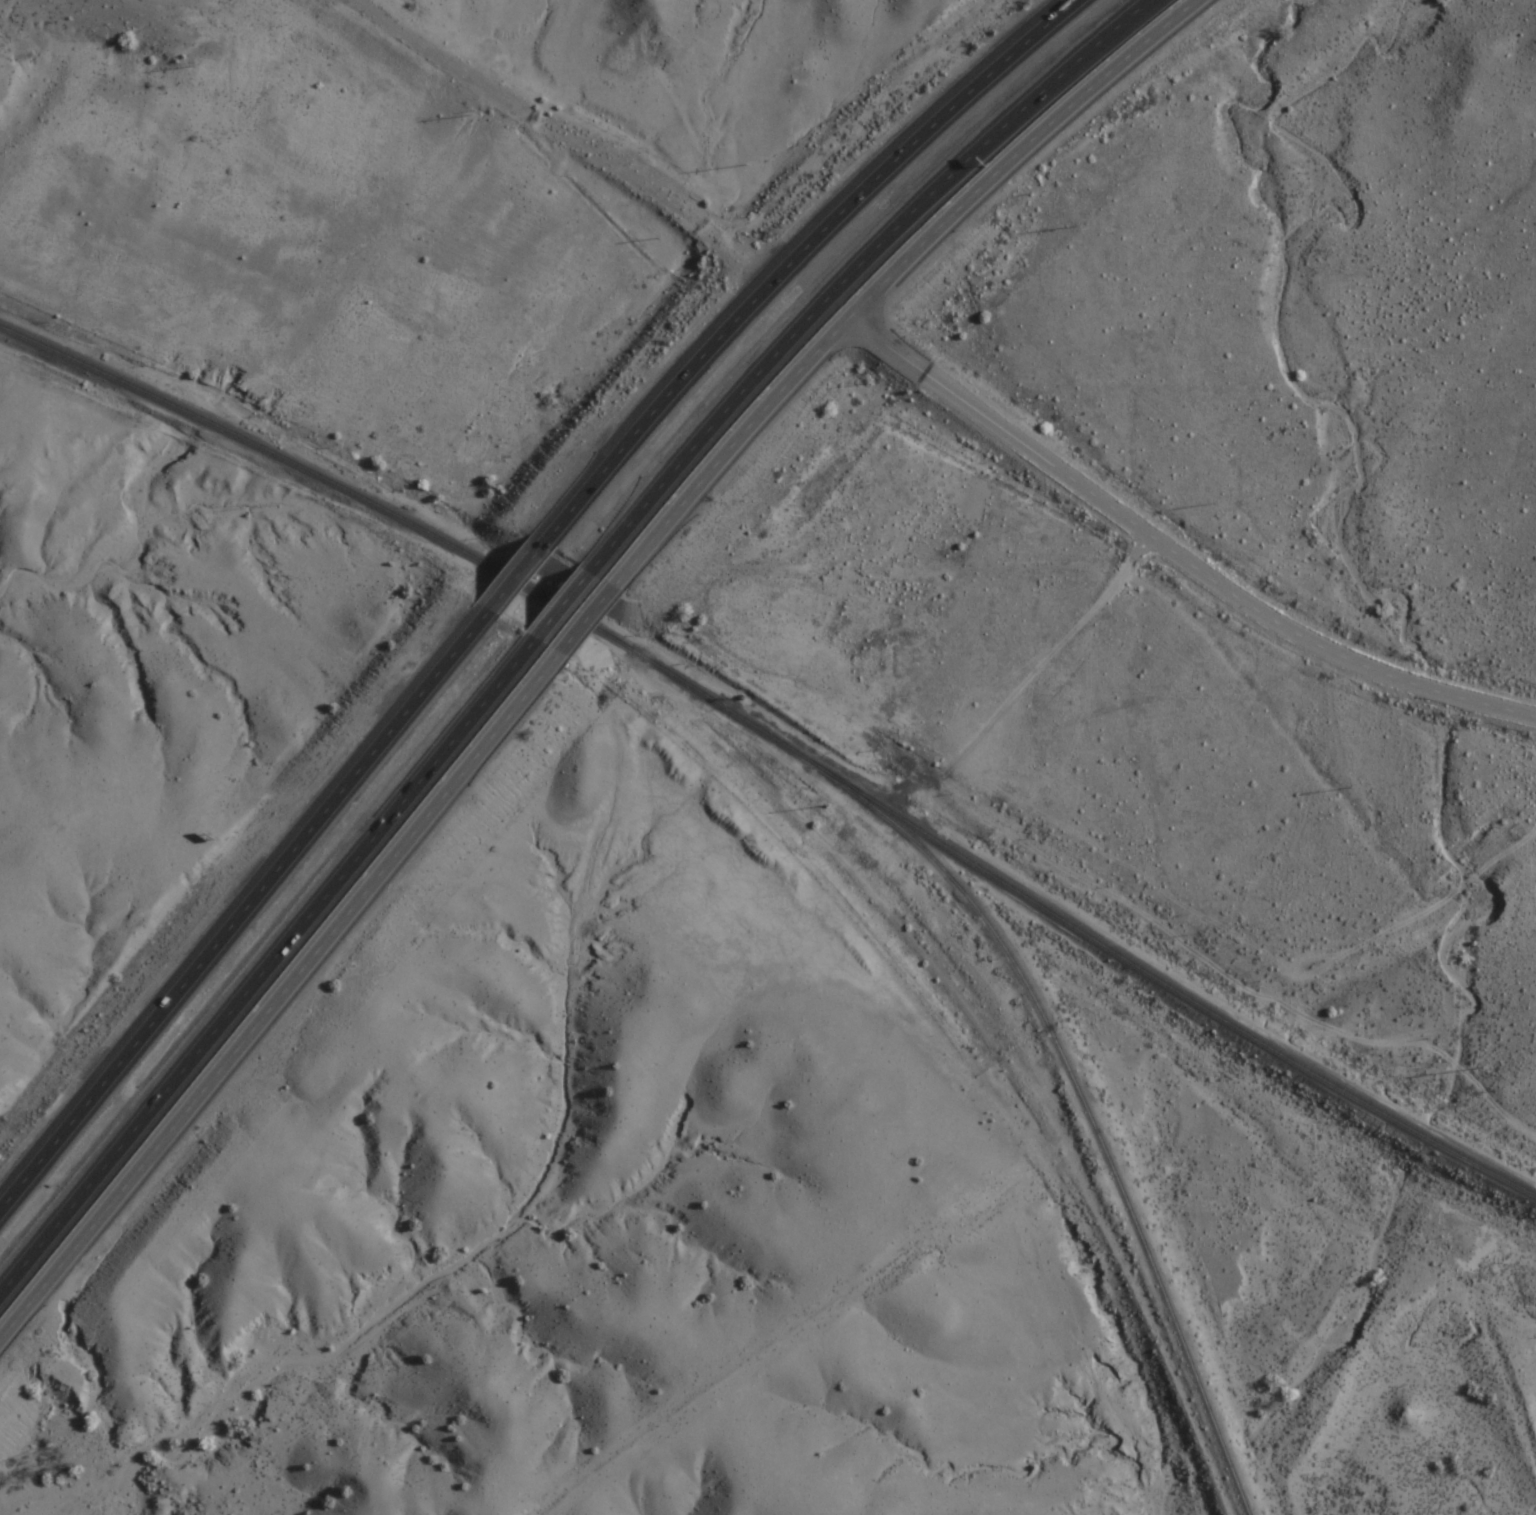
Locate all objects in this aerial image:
road: (441, 51)
road: (805, 264)
road: (893, 273)
road: (868, 278)
railway: (352, 493)
road: (1175, 553)
road: (518, 590)
road: (568, 616)
road: (588, 621)
road: (445, 796)
road: (245, 921)
railway: (1108, 948)
road: (271, 977)
railway: (1084, 1104)
road: (168, 1134)

